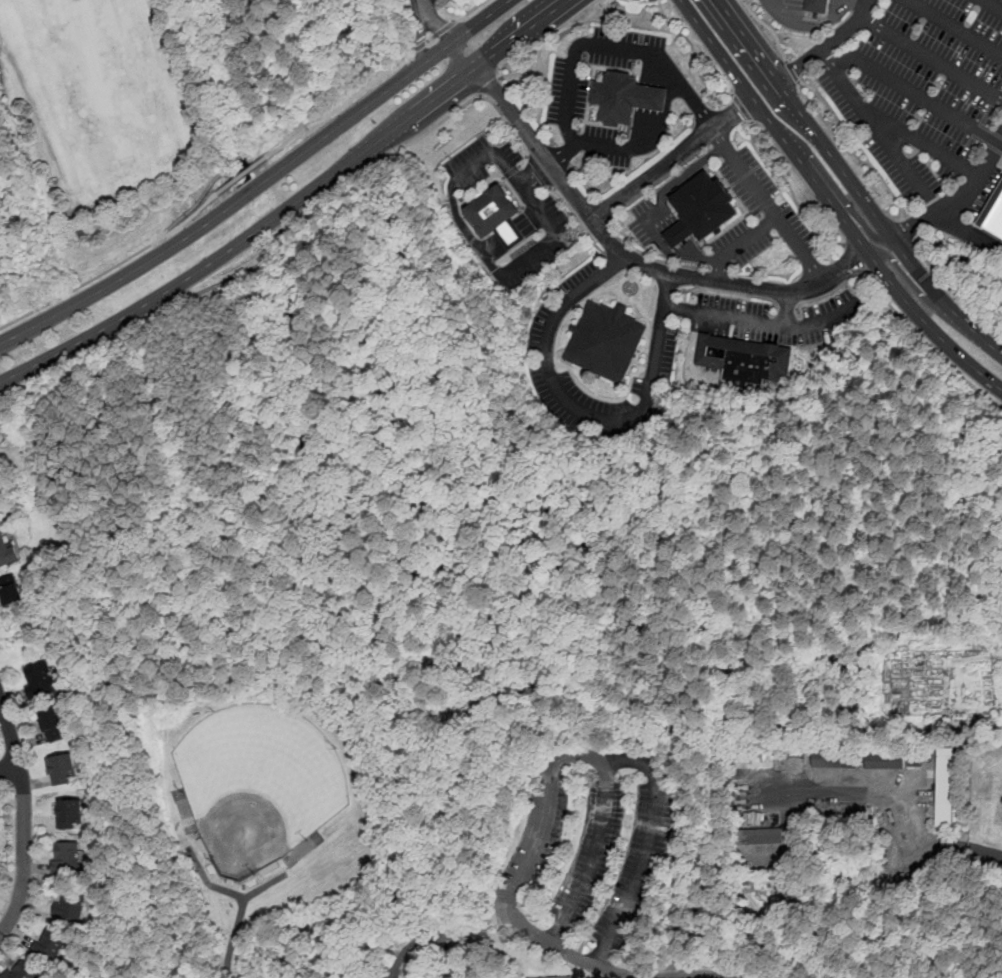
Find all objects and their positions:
road: (861, 2)
road: (994, 4)
building: (815, 6)
road: (471, 10)
road: (482, 23)
road: (435, 24)
road: (810, 24)
road: (768, 28)
road: (954, 28)
road: (432, 37)
road: (550, 37)
road: (589, 43)
road: (829, 45)
road: (694, 51)
road: (932, 59)
road: (791, 72)
road: (487, 86)
park: (108, 89)
parking lot: (922, 89)
building: (613, 95)
road: (918, 95)
building: (649, 97)
road: (341, 106)
road: (743, 107)
park: (162, 111)
road: (874, 123)
road: (512, 127)
road: (651, 136)
road: (924, 142)
road: (851, 151)
road: (388, 154)
road: (674, 159)
road: (539, 171)
road: (243, 175)
road: (852, 184)
road: (789, 187)
road: (838, 193)
road: (956, 202)
road: (662, 204)
building: (705, 204)
road: (832, 204)
road: (292, 205)
road: (536, 205)
road: (233, 206)
building: (491, 211)
road: (774, 214)
road: (579, 219)
building: (995, 219)
road: (186, 220)
road: (967, 231)
road: (905, 232)
building: (678, 233)
road: (466, 234)
road: (512, 234)
road: (281, 235)
building: (511, 235)
road: (740, 245)
road: (618, 252)
road: (129, 257)
road: (855, 260)
road: (616, 262)
road: (232, 278)
road: (638, 283)
road: (666, 285)
road: (911, 286)
road: (831, 290)
road: (725, 291)
road: (954, 293)
road: (785, 303)
road: (783, 310)
road: (760, 324)
road: (132, 327)
building: (603, 344)
road: (928, 346)
building: (741, 361)
road: (584, 411)
building: (6, 553)
building: (10, 594)
park: (534, 637)
road: (998, 657)
road: (914, 666)
road: (918, 666)
road: (932, 666)
road: (890, 673)
road: (984, 673)
road: (991, 674)
road: (896, 676)
road: (904, 676)
road: (935, 676)
road: (926, 677)
road: (985, 678)
building: (39, 680)
road: (986, 682)
road: (981, 686)
road: (921, 687)
road: (976, 687)
road: (986, 687)
road: (908, 692)
road: (959, 692)
road: (974, 696)
road: (987, 696)
road: (921, 706)
road: (999, 707)
building: (53, 725)
building: (885, 759)
road: (604, 760)
building: (834, 760)
road: (9, 766)
building: (63, 768)
park: (258, 784)
building: (945, 786)
road: (904, 797)
building: (70, 812)
road: (23, 819)
building: (761, 835)
road: (540, 838)
parking lot: (589, 855)
road: (596, 855)
building: (66, 858)
road: (914, 858)
road: (639, 868)
road: (841, 879)
road: (209, 885)
road: (762, 892)
road: (807, 896)
road: (822, 902)
building: (69, 906)
road: (667, 910)
road: (234, 936)
road: (444, 936)
road: (490, 938)
road: (592, 938)
road: (782, 939)
road: (553, 942)
road: (677, 942)
road: (581, 945)
building: (49, 946)
road: (531, 946)
road: (405, 949)
road: (533, 964)
road: (573, 964)
building: (21, 971)
road: (619, 973)
road: (539, 974)
road: (388, 976)
road: (526, 976)
building: (543, 977)
building: (563, 977)

